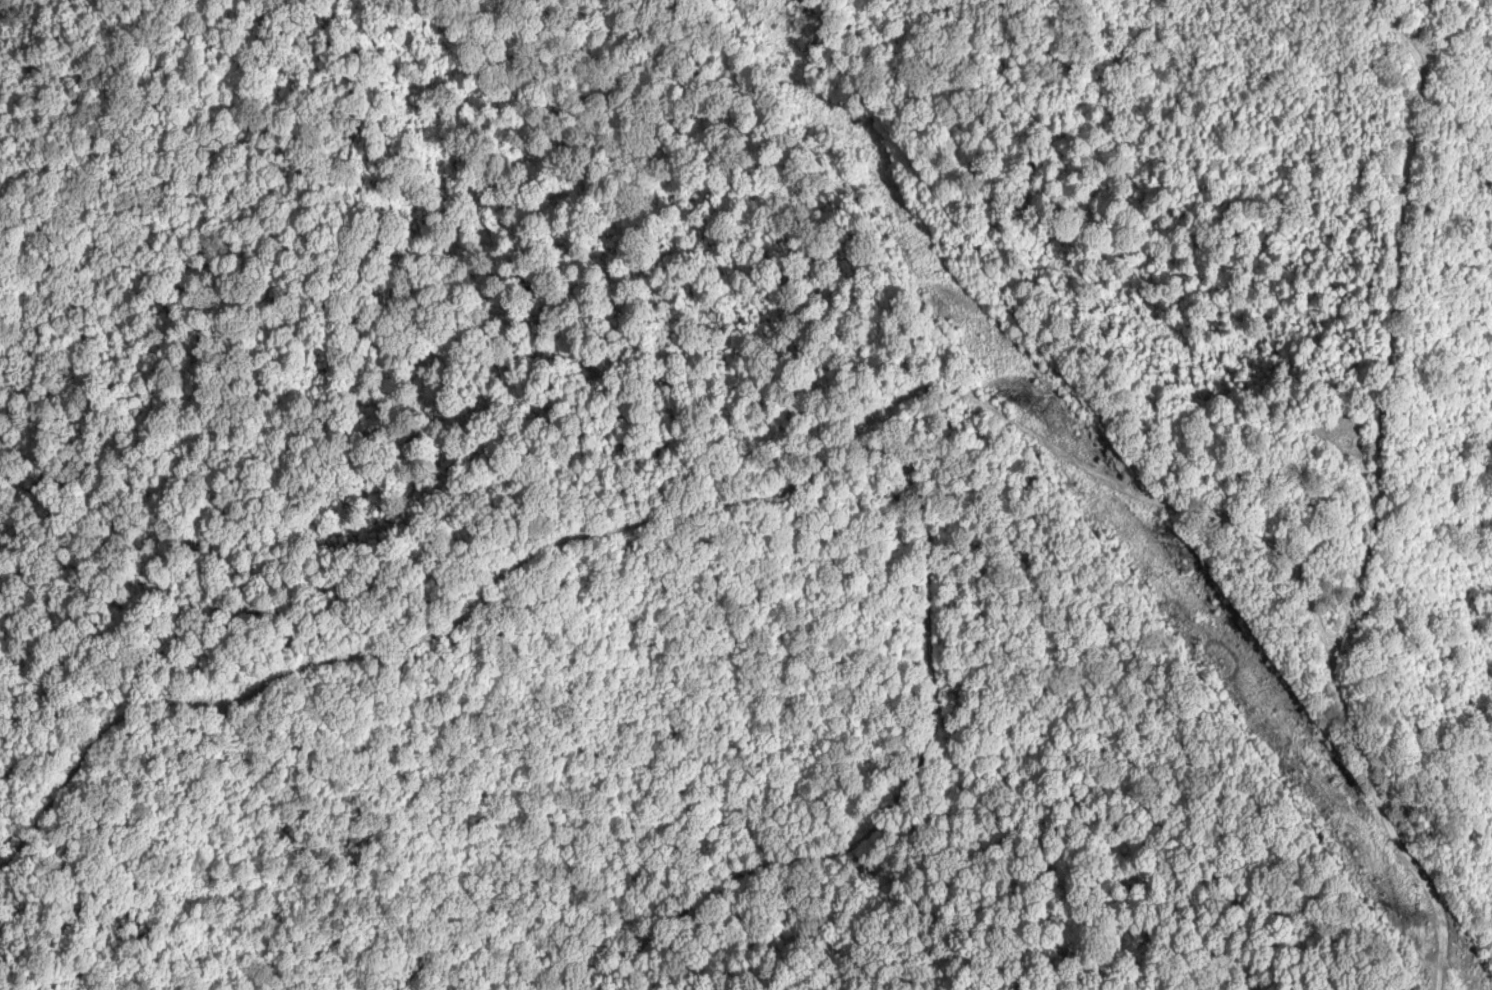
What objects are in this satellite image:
road: (1392, 321)
road: (662, 498)
road: (908, 641)
road: (1394, 824)

